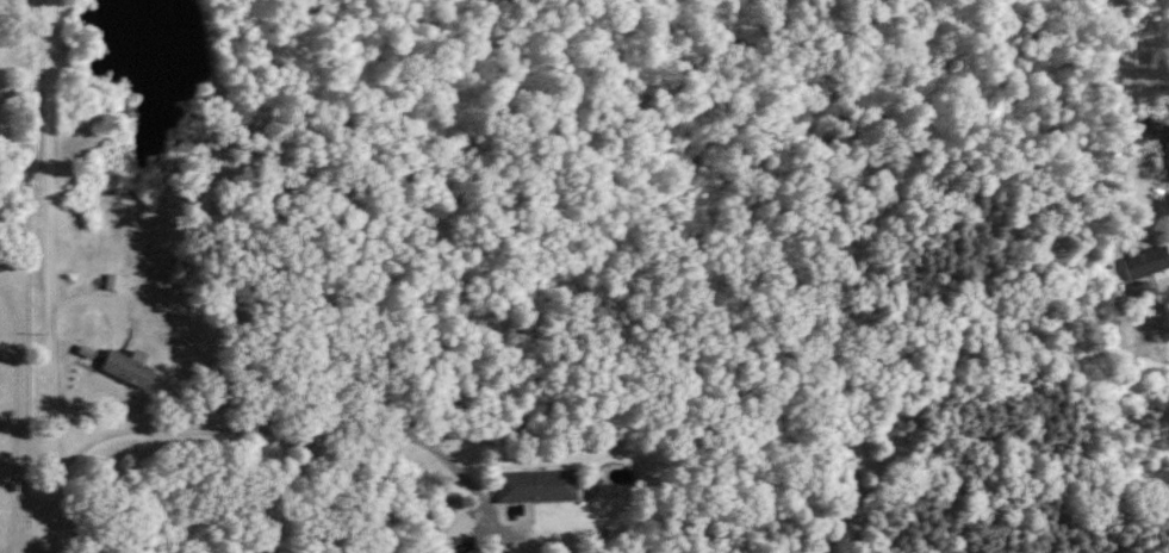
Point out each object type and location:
road: (1125, 117)
building: (1146, 263)
road: (46, 276)
building: (1142, 292)
building: (125, 368)
road: (274, 430)
building: (534, 486)
building: (447, 526)

